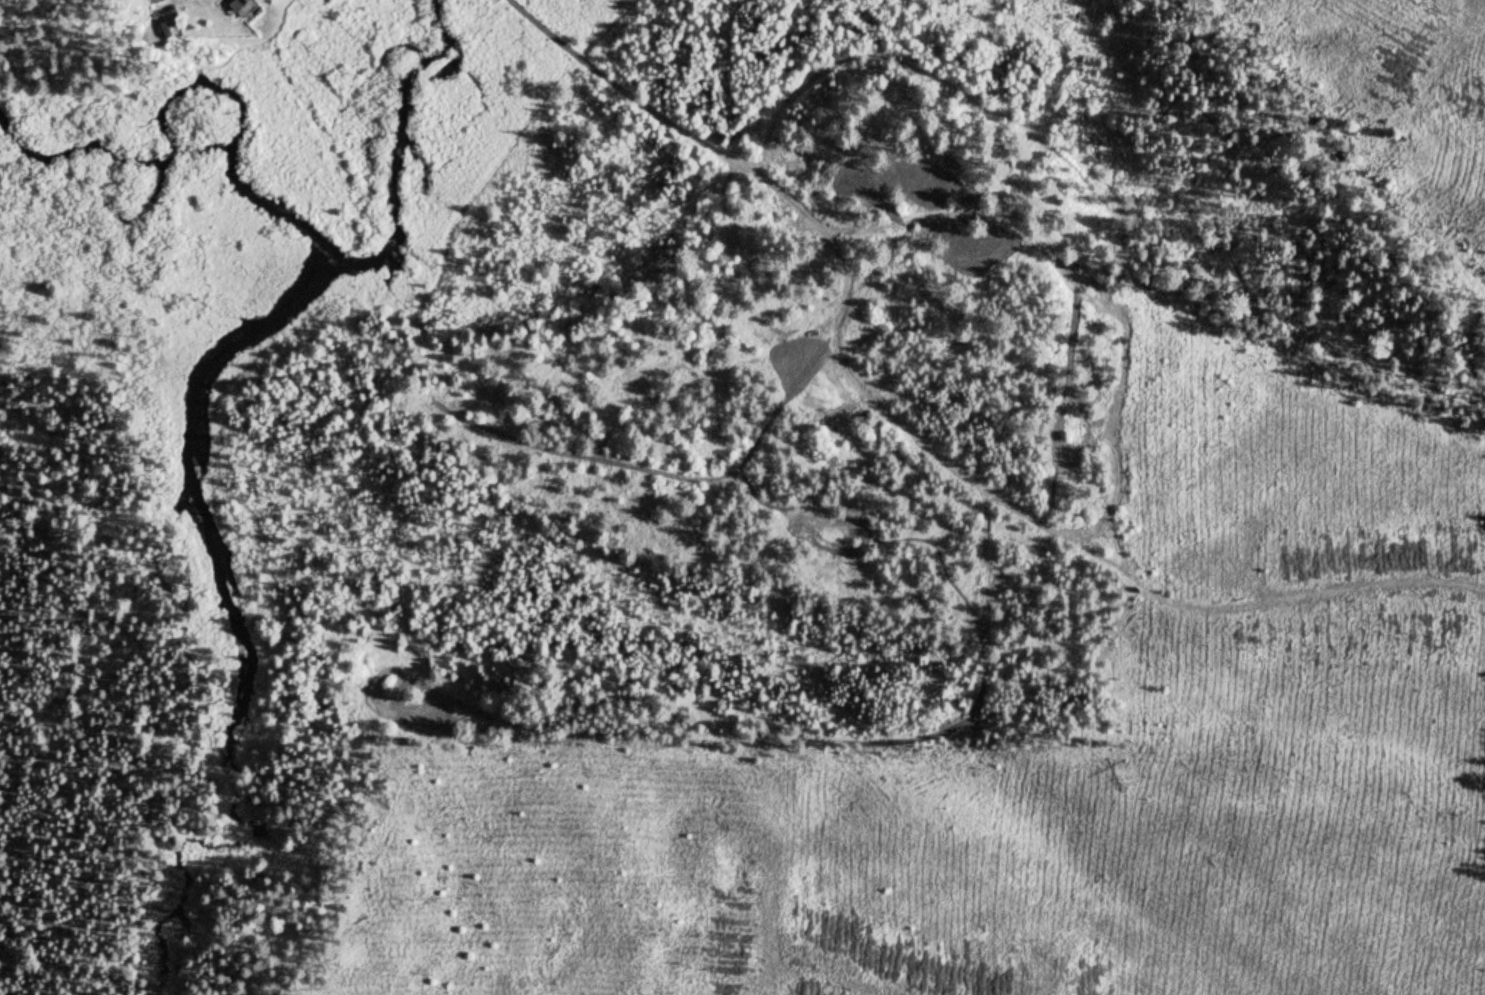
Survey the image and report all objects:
building: (237, 7)
road: (669, 115)
river: (418, 138)
river: (158, 170)
road: (1084, 288)
road: (1036, 517)
road: (1438, 580)
road: (978, 605)

